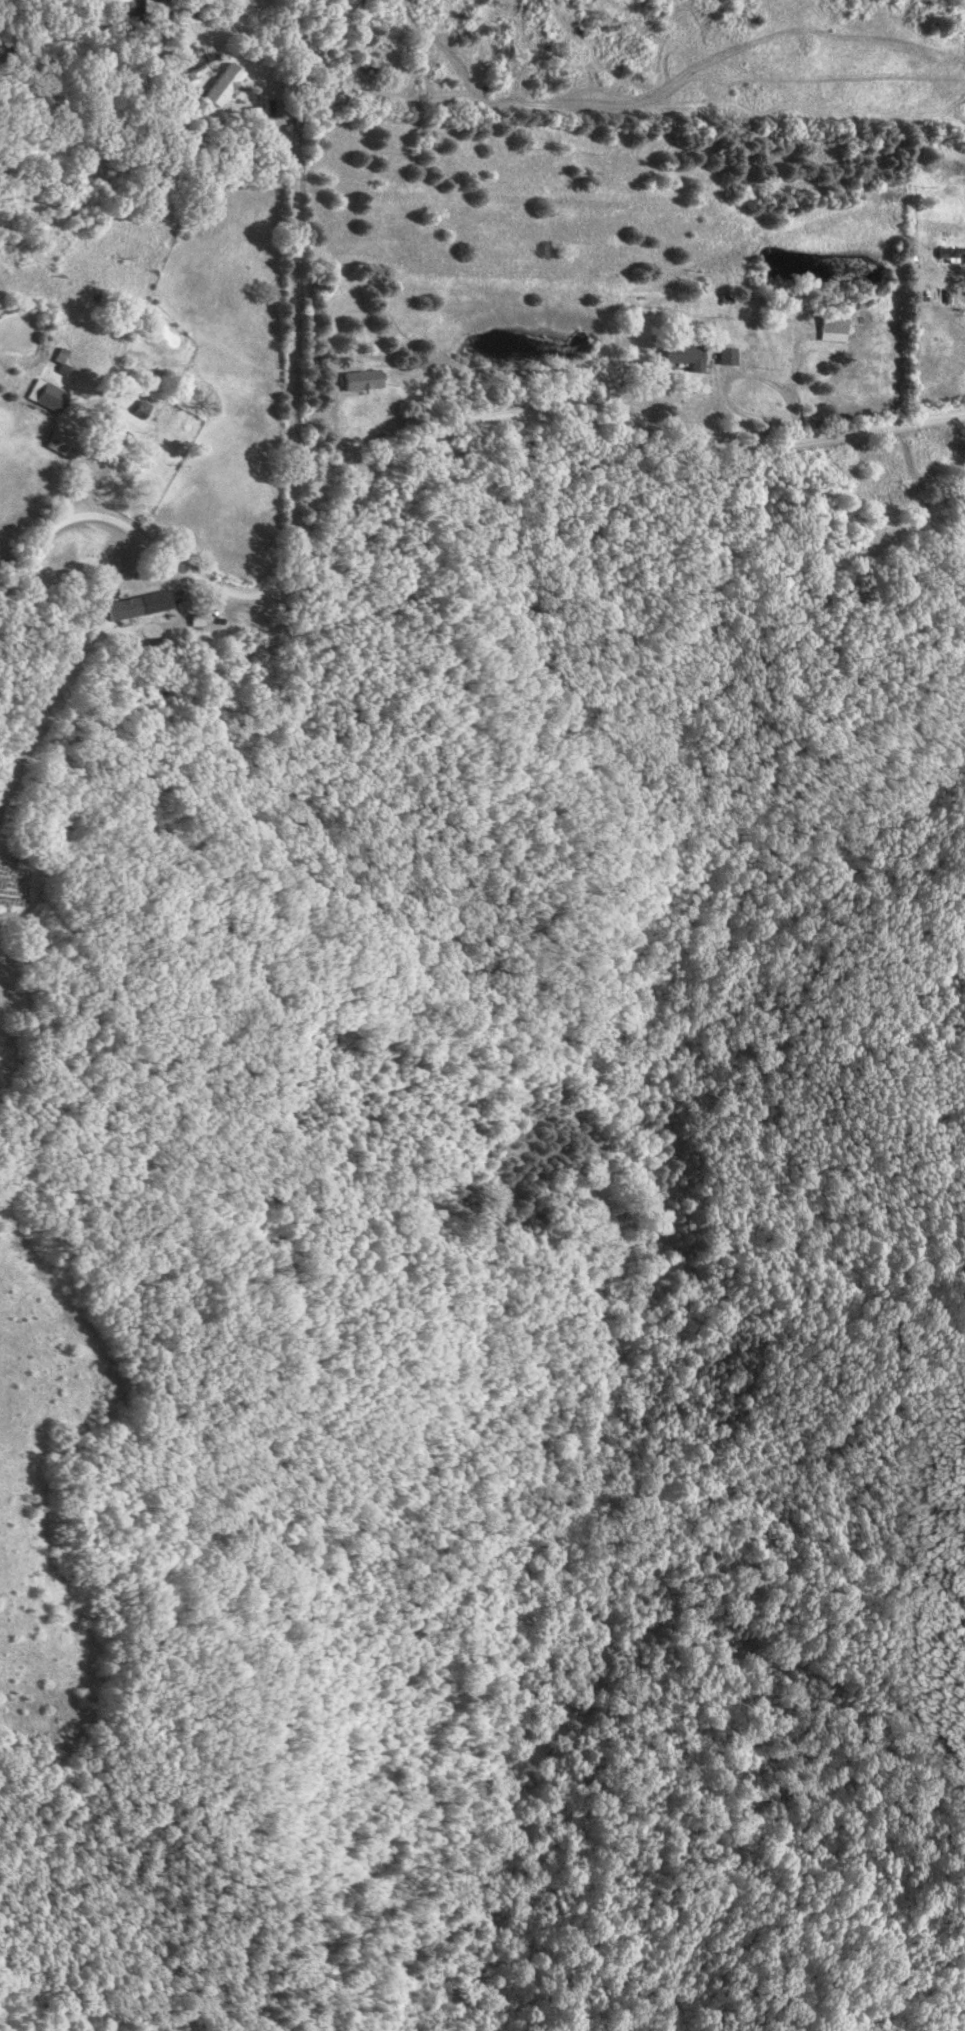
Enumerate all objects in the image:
building: (224, 85)
building: (254, 114)
road: (292, 319)
building: (834, 331)
building: (684, 357)
building: (726, 357)
road: (733, 375)
building: (363, 381)
building: (50, 398)
building: (127, 423)
road: (431, 437)
building: (61, 446)
building: (140, 606)

